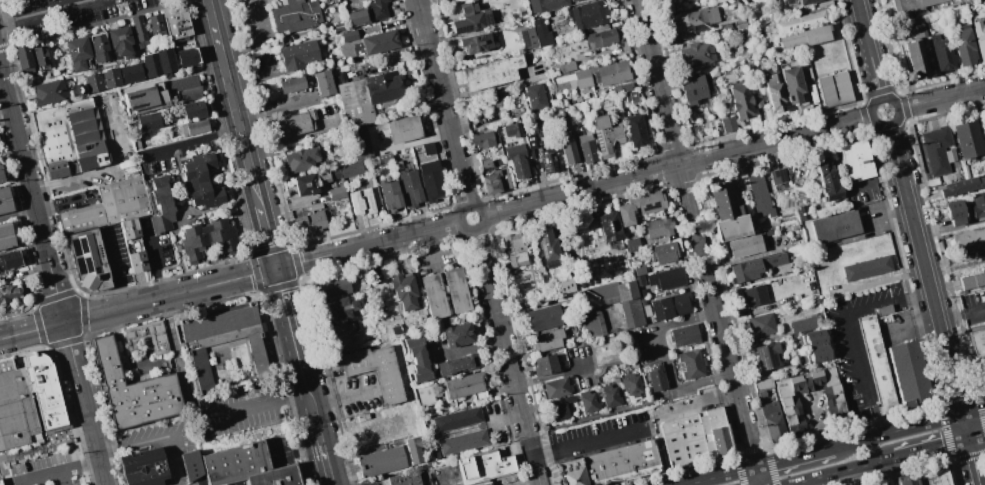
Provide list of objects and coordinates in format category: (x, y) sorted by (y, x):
road: (2, 0)
building: (571, 0)
building: (330, 1)
building: (798, 1)
building: (545, 4)
building: (911, 4)
building: (377, 9)
road: (47, 12)
parking lot: (68, 14)
building: (588, 14)
building: (294, 15)
building: (356, 16)
building: (470, 17)
rooftop solar panel: (487, 17)
building: (690, 19)
building: (799, 21)
building: (175, 22)
rooftop solar panel: (476, 24)
road: (94, 25)
building: (156, 25)
building: (338, 26)
rooftop solar panel: (460, 29)
building: (139, 31)
building: (541, 32)
building: (349, 35)
building: (603, 36)
building: (805, 36)
building: (528, 37)
rooftop solar panel: (525, 38)
building: (979, 38)
building: (120, 41)
building: (379, 42)
building: (474, 43)
building: (964, 45)
building: (98, 47)
road: (870, 50)
building: (915, 51)
building: (77, 52)
building: (942, 53)
building: (695, 54)
building: (297, 55)
building: (40, 56)
building: (187, 57)
building: (23, 59)
building: (158, 62)
building: (567, 66)
building: (491, 72)
building: (130, 73)
building: (714, 73)
building: (594, 76)
building: (101, 79)
building: (323, 82)
building: (291, 84)
building: (791, 84)
building: (834, 88)
building: (183, 89)
building: (692, 89)
building: (48, 92)
building: (628, 92)
building: (773, 92)
rooftop solar panel: (133, 94)
building: (366, 96)
building: (535, 97)
road: (941, 98)
building: (144, 99)
building: (498, 99)
building: (740, 100)
building: (756, 101)
road: (444, 103)
rooftop solar panel: (136, 104)
road: (236, 104)
road: (896, 108)
rooftop solar panel: (144, 109)
building: (192, 109)
building: (984, 120)
building: (147, 121)
building: (294, 123)
building: (728, 124)
building: (193, 127)
building: (403, 128)
building: (512, 129)
building: (635, 130)
building: (605, 135)
building: (69, 137)
building: (482, 139)
building: (966, 139)
building: (530, 141)
rooftop solar panel: (598, 141)
building: (360, 142)
building: (586, 147)
building: (428, 148)
building: (936, 149)
building: (567, 150)
building: (488, 157)
building: (300, 159)
building: (383, 159)
building: (549, 159)
building: (516, 160)
building: (855, 160)
building: (397, 164)
rooftop solar panel: (544, 165)
road: (679, 165)
rooftop solar panel: (554, 166)
building: (350, 169)
rooftop solar panel: (780, 174)
building: (778, 176)
building: (1, 177)
road: (68, 179)
building: (201, 180)
building: (313, 180)
building: (431, 180)
building: (828, 180)
building: (496, 181)
rooftop solar panel: (826, 182)
building: (961, 186)
building: (409, 187)
building: (336, 193)
road: (32, 194)
building: (389, 194)
building: (758, 195)
rooftop solar panel: (834, 196)
building: (4, 200)
building: (361, 201)
building: (977, 204)
building: (160, 206)
building: (639, 206)
road: (910, 206)
building: (106, 207)
rooftop solar panel: (651, 207)
building: (726, 210)
road: (17, 212)
building: (803, 212)
building: (954, 212)
road: (484, 215)
building: (308, 223)
building: (608, 226)
building: (658, 226)
building: (834, 226)
building: (5, 235)
building: (206, 238)
road: (272, 238)
rooftop solar panel: (540, 238)
building: (969, 239)
road: (26, 241)
road: (699, 242)
road: (370, 244)
building: (632, 244)
building: (132, 245)
rooftop solar panel: (550, 245)
building: (743, 245)
rooftop solar panel: (71, 247)
rooftop solar panel: (80, 248)
rooftop solar panel: (541, 248)
building: (548, 248)
building: (515, 250)
building: (663, 252)
building: (10, 260)
building: (87, 260)
rooftop solar panel: (86, 263)
road: (157, 264)
rooftop solar panel: (552, 264)
rooftop solar panel: (77, 265)
traffic signals: (280, 267)
building: (754, 267)
building: (638, 268)
building: (866, 268)
road: (114, 269)
rooftop solar panel: (105, 277)
building: (665, 278)
road: (161, 279)
building: (639, 279)
building: (973, 280)
road: (222, 282)
building: (333, 286)
building: (565, 286)
building: (456, 289)
building: (403, 290)
building: (7, 292)
building: (433, 295)
building: (753, 295)
road: (56, 296)
building: (585, 298)
building: (621, 299)
road: (888, 301)
road: (144, 302)
building: (670, 306)
building: (342, 307)
road: (976, 311)
road: (84, 315)
road: (94, 315)
building: (544, 317)
road: (293, 318)
road: (953, 318)
building: (591, 322)
building: (761, 324)
building: (805, 324)
road: (39, 326)
building: (396, 329)
road: (32, 331)
building: (458, 334)
building: (344, 335)
building: (684, 335)
building: (813, 337)
building: (131, 338)
building: (221, 340)
building: (546, 340)
road: (67, 341)
road: (48, 349)
building: (980, 349)
road: (24, 353)
building: (818, 353)
building: (767, 355)
road: (855, 355)
road: (508, 357)
rooftop solar panel: (771, 357)
road: (180, 358)
building: (417, 358)
road: (668, 359)
rooftop solar panel: (761, 359)
building: (691, 363)
building: (457, 364)
building: (544, 365)
building: (881, 368)
building: (374, 370)
building: (914, 373)
building: (657, 379)
building: (762, 383)
building: (464, 384)
building: (631, 385)
building: (555, 387)
road: (955, 387)
building: (134, 390)
road: (310, 392)
building: (426, 395)
building: (610, 396)
road: (343, 397)
building: (587, 401)
road: (257, 402)
road: (85, 403)
road: (699, 404)
building: (17, 408)
road: (104, 409)
building: (556, 412)
building: (836, 412)
traffic signals: (963, 415)
road: (604, 417)
building: (457, 419)
building: (772, 421)
road: (909, 428)
road: (74, 431)
road: (977, 436)
building: (702, 439)
traffic signals: (969, 439)
building: (462, 441)
road: (146, 442)
road: (591, 443)
road: (932, 448)
road: (325, 450)
building: (416, 452)
road: (794, 457)
building: (384, 463)
road: (81, 465)
building: (191, 465)
building: (486, 466)
building: (615, 466)
building: (145, 467)
building: (247, 467)
parking lot: (45, 470)
road: (842, 471)
road: (871, 475)
road: (43, 476)
road: (721, 476)
road: (64, 477)
road: (852, 477)
building: (937, 477)
building: (405, 479)
building: (907, 480)
building: (1, 481)
road: (454, 481)
parking lot: (231, 484)
building: (484, 484)
road: (796, 484)

